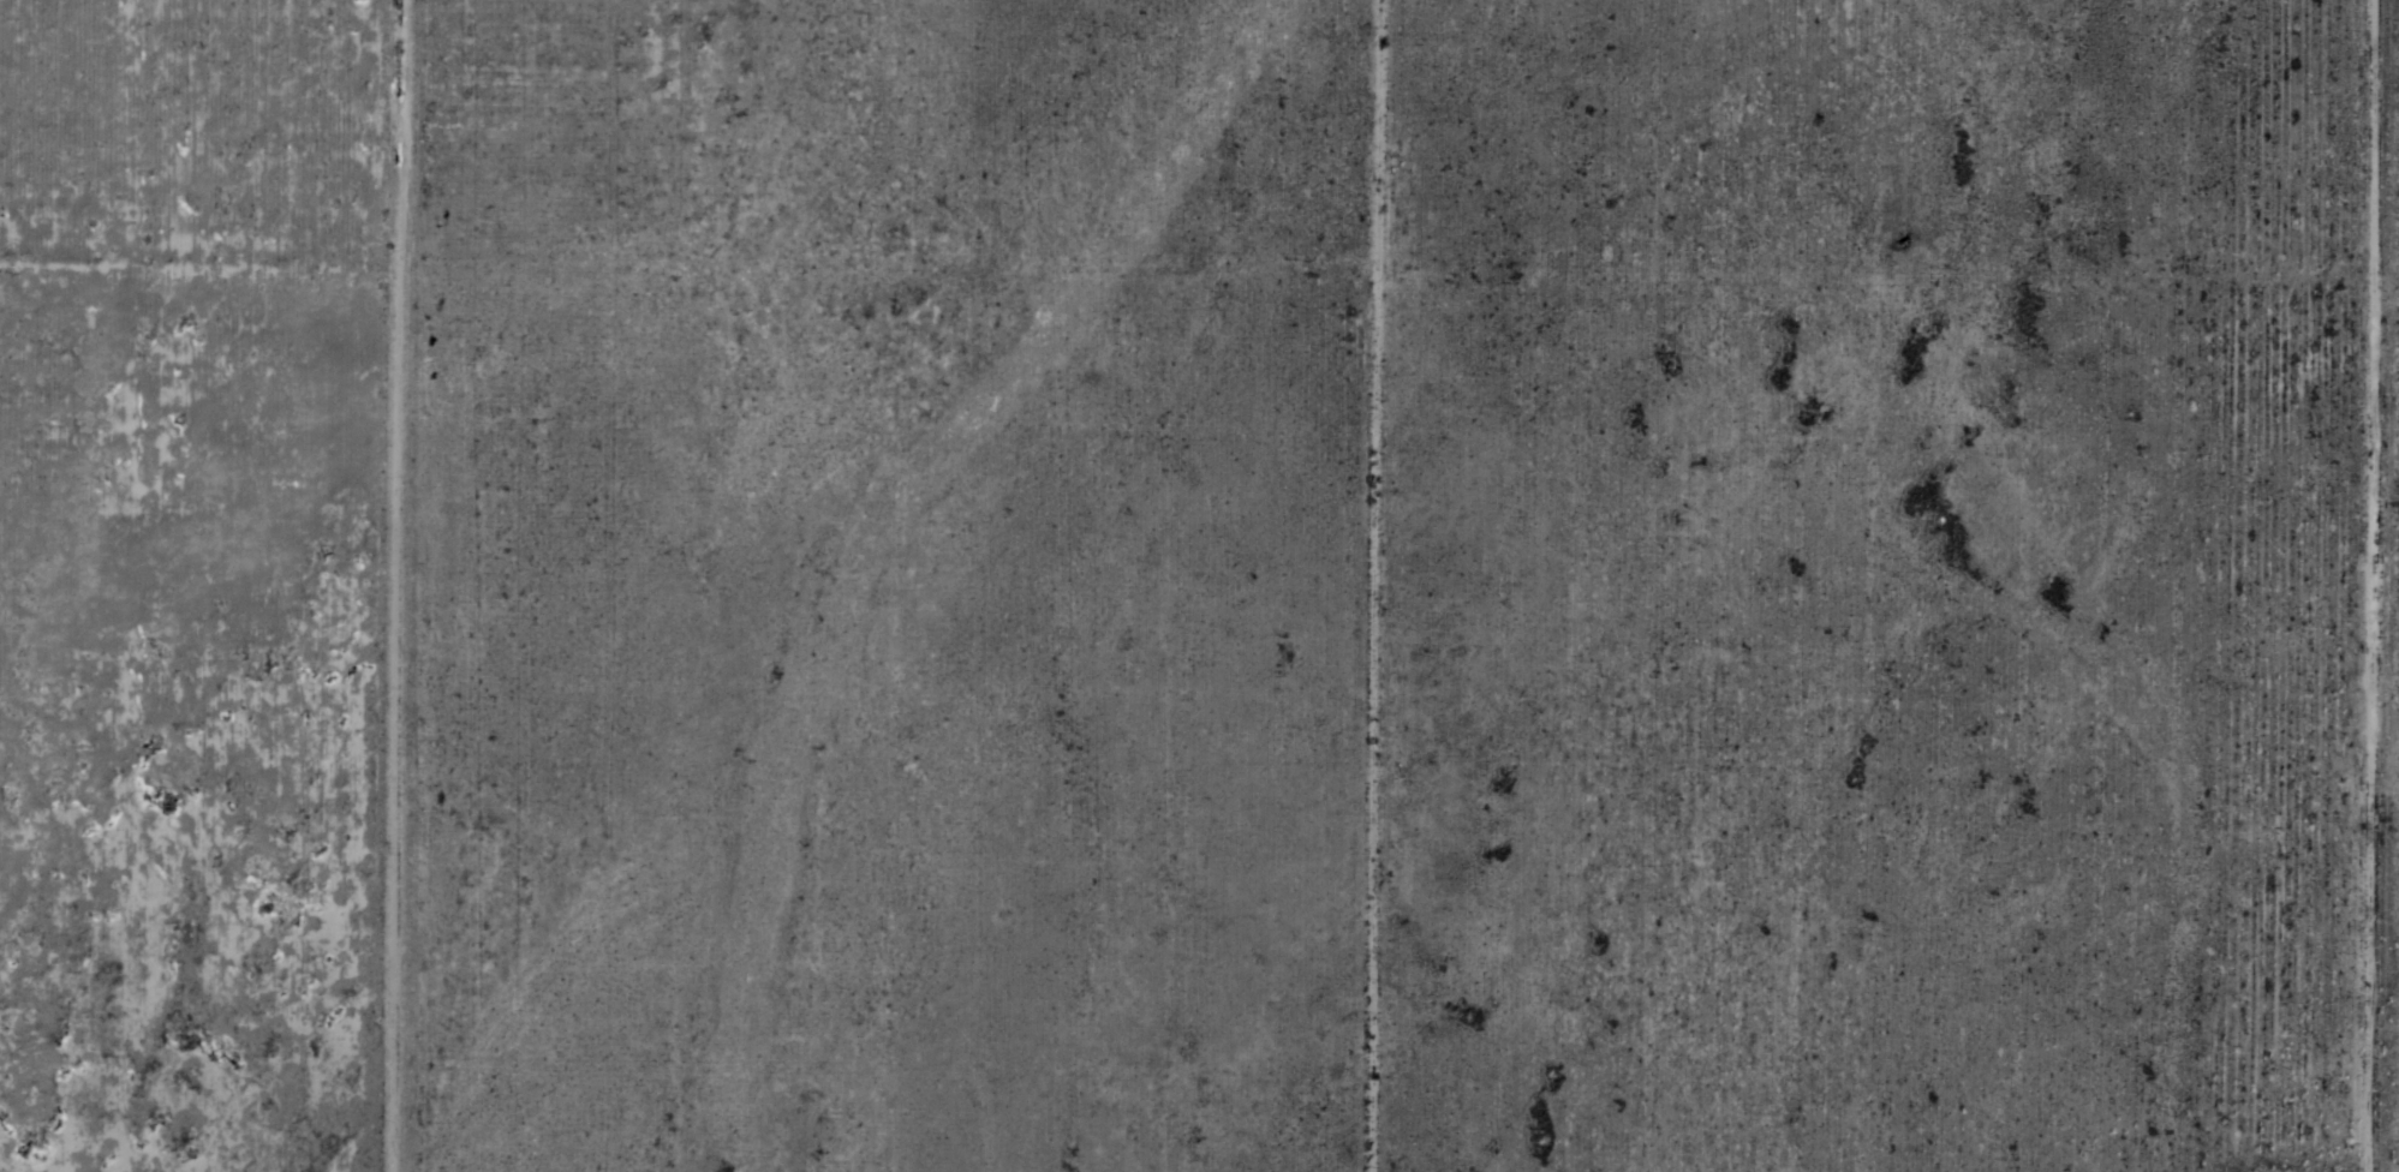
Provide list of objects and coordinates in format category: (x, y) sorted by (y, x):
road: (141, 237)
road: (278, 585)
road: (2391, 586)

